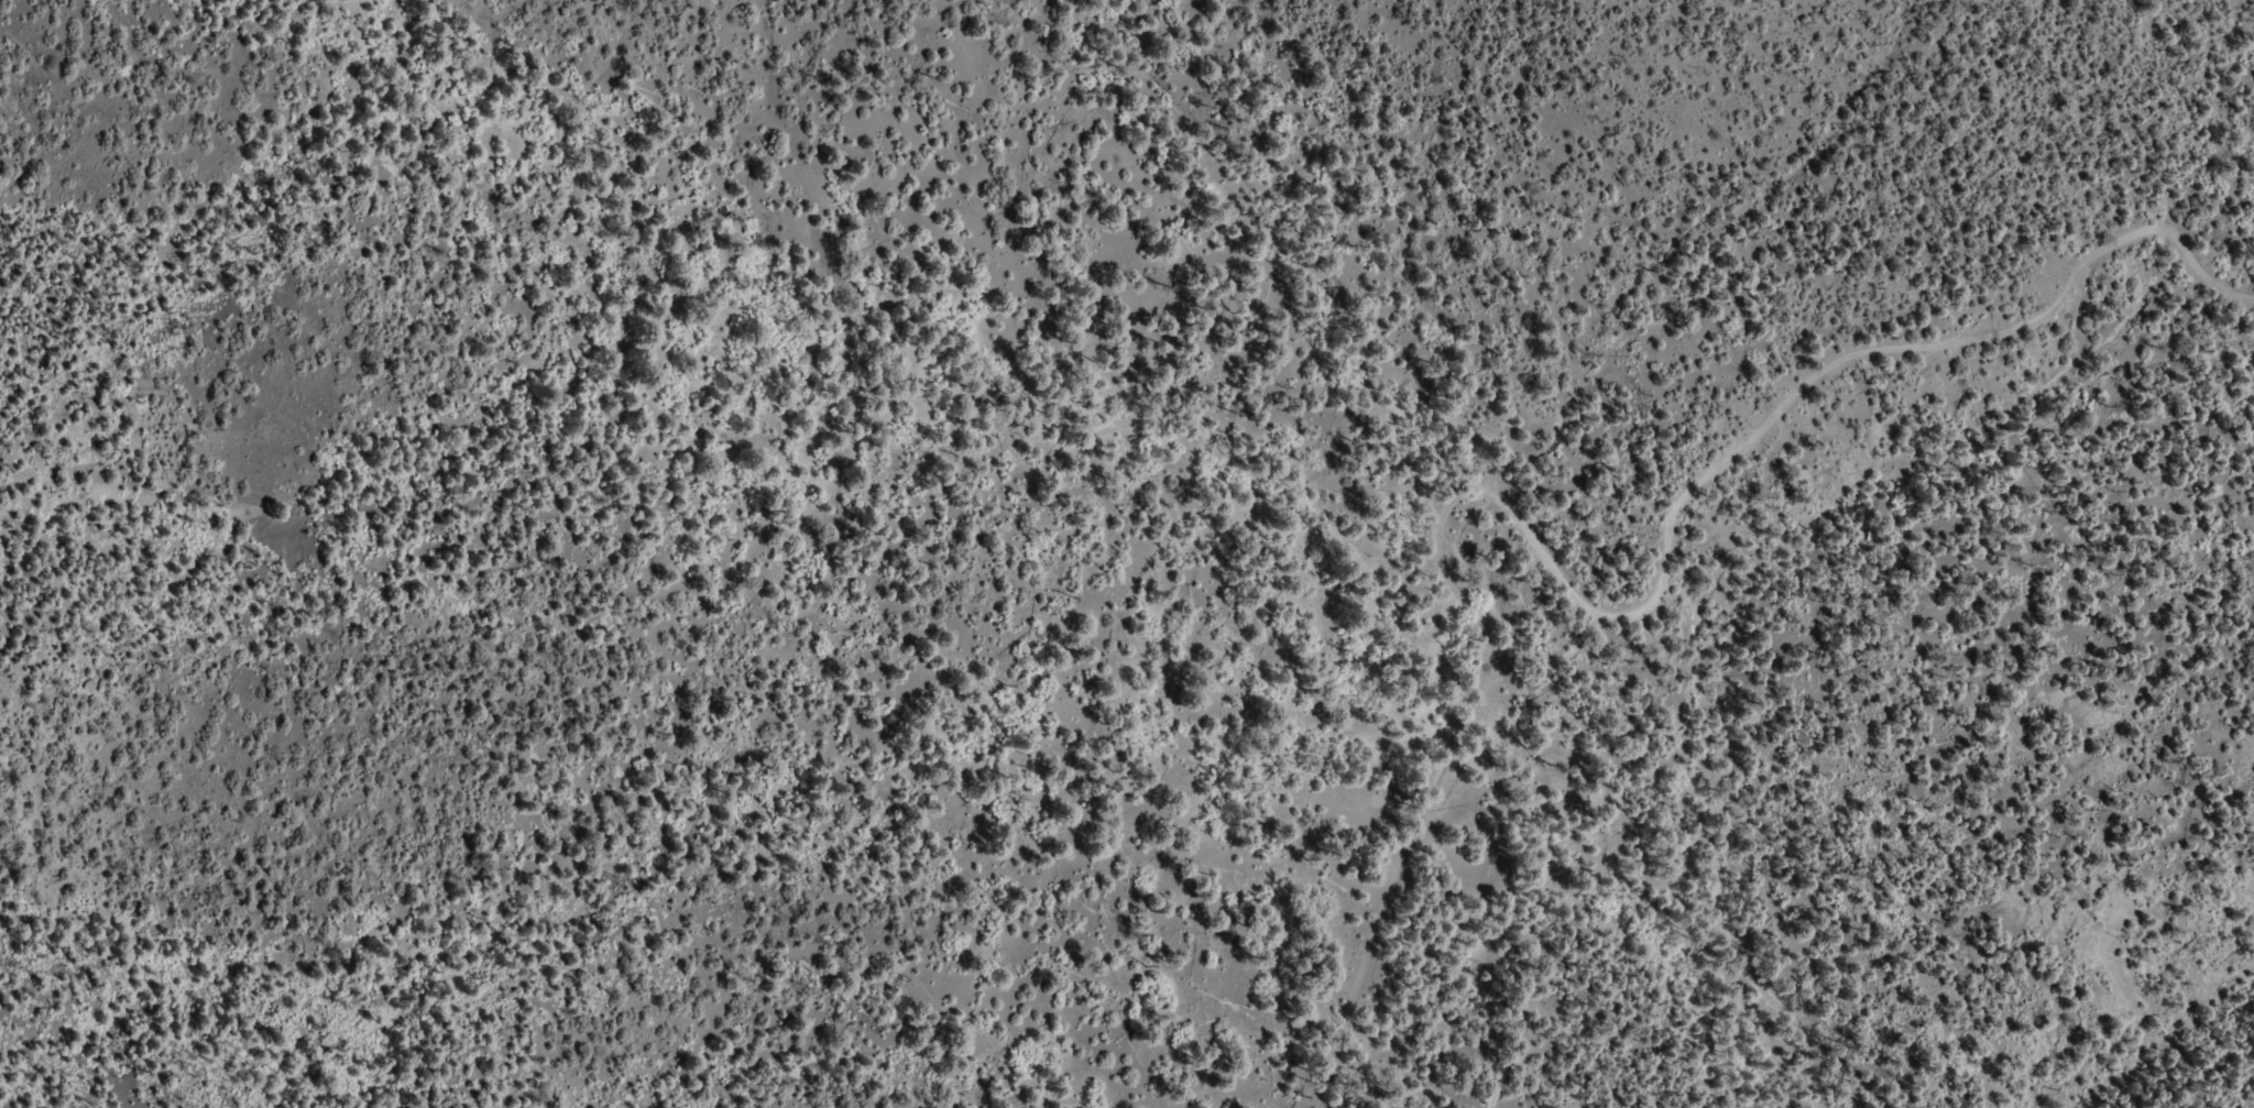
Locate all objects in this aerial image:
road: (2189, 165)
road: (1599, 616)
building: (1462, 844)
road: (1638, 913)

